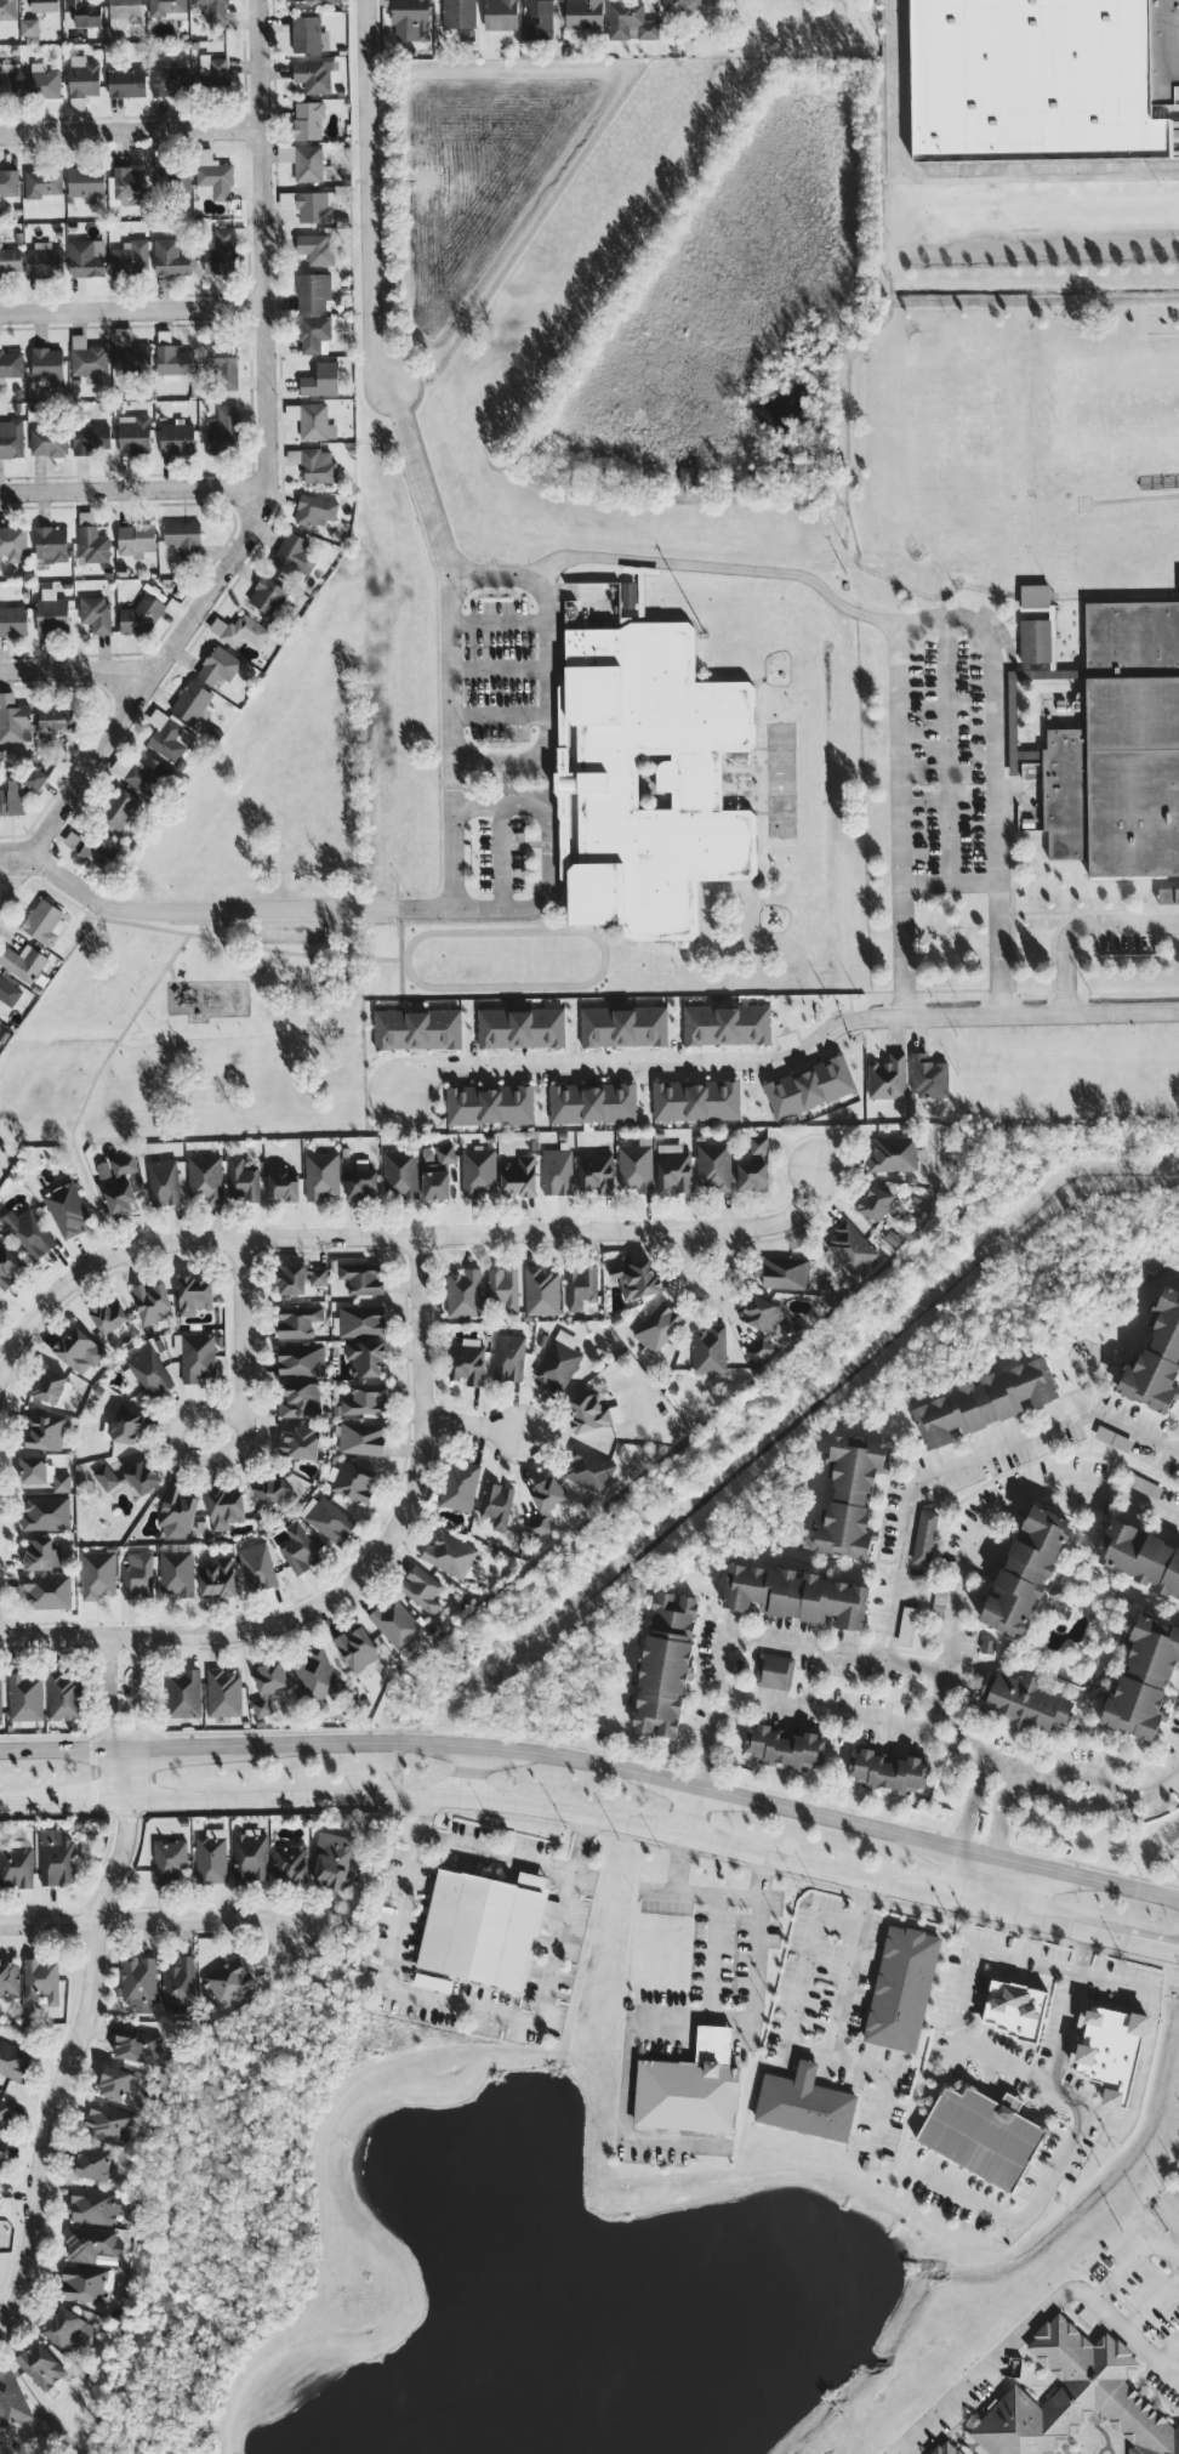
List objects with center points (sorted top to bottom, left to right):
building: (309, 0)
building: (44, 5)
building: (167, 7)
building: (678, 7)
building: (7, 8)
building: (215, 10)
building: (124, 12)
building: (81, 13)
building: (583, 13)
building: (500, 15)
building: (412, 16)
building: (457, 18)
building: (537, 19)
building: (630, 21)
building: (29, 28)
building: (308, 34)
building: (213, 70)
building: (314, 75)
building: (82, 76)
building: (1042, 78)
building: (169, 80)
building: (7, 81)
building: (126, 83)
building: (42, 84)
building: (1164, 110)
building: (308, 119)
road: (131, 132)
building: (306, 161)
road: (955, 172)
building: (212, 175)
building: (172, 176)
building: (8, 182)
building: (86, 182)
building: (129, 182)
building: (42, 184)
road: (368, 200)
building: (315, 205)
building: (315, 248)
building: (220, 251)
building: (86, 257)
building: (170, 257)
building: (130, 259)
building: (45, 260)
building: (313, 290)
road: (132, 308)
building: (314, 334)
building: (173, 356)
building: (87, 359)
building: (11, 362)
building: (223, 363)
building: (46, 364)
building: (320, 379)
building: (312, 420)
building: (224, 431)
building: (133, 433)
building: (176, 437)
building: (11, 438)
building: (91, 438)
building: (47, 441)
building: (318, 465)
building: (685, 475)
road: (267, 487)
road: (133, 489)
building: (315, 510)
building: (183, 535)
building: (136, 539)
building: (12, 544)
building: (51, 544)
building: (92, 544)
building: (294, 555)
road: (725, 568)
building: (267, 596)
building: (1035, 596)
building: (52, 612)
building: (96, 613)
road: (946, 613)
building: (139, 617)
building: (13, 620)
road: (500, 625)
building: (240, 630)
building: (1035, 640)
road: (454, 647)
building: (218, 665)
road: (500, 669)
road: (547, 670)
road: (75, 671)
road: (1002, 676)
building: (192, 701)
building: (1012, 705)
road: (501, 715)
building: (13, 720)
building: (56, 720)
building: (167, 735)
building: (1118, 744)
road: (947, 748)
road: (1010, 749)
road: (1003, 756)
building: (136, 773)
building: (35, 778)
building: (654, 779)
road: (1027, 790)
building: (12, 797)
building: (119, 807)
building: (101, 848)
road: (501, 856)
road: (52, 873)
road: (24, 874)
road: (950, 882)
building: (1168, 894)
road: (414, 909)
building: (44, 921)
road: (1081, 924)
road: (205, 936)
road: (400, 954)
building: (23, 961)
road: (171, 972)
park: (216, 978)
building: (8, 992)
road: (828, 992)
road: (1029, 1016)
building: (727, 1023)
building: (623, 1026)
building: (520, 1027)
building: (417, 1028)
road: (640, 1061)
building: (928, 1075)
building: (887, 1077)
road: (91, 1084)
building: (809, 1086)
building: (696, 1100)
building: (592, 1102)
building: (489, 1103)
building: (893, 1153)
building: (636, 1165)
building: (713, 1165)
building: (753, 1165)
building: (674, 1168)
building: (437, 1171)
building: (478, 1171)
building: (557, 1171)
building: (596, 1171)
building: (400, 1172)
building: (321, 1175)
building: (519, 1176)
building: (205, 1177)
building: (164, 1181)
building: (243, 1181)
building: (118, 1183)
building: (361, 1183)
building: (281, 1186)
building: (875, 1202)
building: (65, 1209)
building: (29, 1232)
road: (394, 1235)
building: (850, 1248)
building: (8, 1266)
building: (785, 1272)
building: (361, 1277)
building: (300, 1278)
building: (636, 1278)
building: (581, 1285)
building: (503, 1288)
building: (541, 1291)
road: (710, 1291)
building: (463, 1293)
building: (194, 1294)
building: (152, 1302)
building: (108, 1316)
building: (298, 1319)
building: (361, 1320)
building: (761, 1323)
building: (657, 1327)
building: (708, 1350)
building: (79, 1351)
building: (195, 1356)
building: (365, 1357)
building: (508, 1357)
building: (1156, 1358)
building: (301, 1359)
building: (467, 1361)
building: (559, 1361)
building: (147, 1373)
building: (49, 1385)
building: (365, 1398)
building: (300, 1399)
building: (985, 1401)
building: (591, 1413)
road: (239, 1418)
road: (475, 1425)
building: (123, 1427)
building: (42, 1431)
building: (361, 1438)
building: (298, 1442)
road: (964, 1461)
building: (588, 1469)
building: (41, 1472)
building: (143, 1476)
building: (106, 1477)
building: (352, 1481)
building: (1141, 1483)
building: (460, 1486)
building: (272, 1489)
building: (850, 1495)
building: (496, 1504)
building: (543, 1504)
building: (226, 1507)
building: (46, 1512)
building: (177, 1512)
building: (327, 1518)
building: (924, 1536)
building: (297, 1549)
building: (41, 1553)
building: (451, 1555)
building: (1140, 1556)
building: (257, 1567)
building: (177, 1570)
building: (1025, 1570)
building: (97, 1573)
building: (137, 1575)
building: (217, 1577)
road: (352, 1578)
building: (421, 1587)
building: (47, 1590)
building: (796, 1595)
road: (951, 1615)
building: (394, 1621)
building: (906, 1625)
road: (799, 1646)
building: (357, 1648)
building: (665, 1663)
building: (774, 1670)
building: (315, 1674)
building: (1144, 1677)
building: (267, 1685)
road: (133, 1692)
building: (223, 1692)
road: (110, 1693)
building: (183, 1693)
building: (63, 1695)
building: (24, 1697)
building: (0, 1699)
building: (1024, 1702)
road: (712, 1723)
road: (936, 1725)
road: (184, 1745)
building: (784, 1745)
road: (63, 1748)
road: (975, 1756)
road: (1001, 1767)
road: (1012, 1770)
road: (700, 1771)
building: (888, 1771)
road: (468, 1772)
road: (1083, 1774)
road: (1160, 1780)
road: (1112, 1784)
road: (1129, 1786)
road: (714, 1789)
road: (1100, 1794)
road: (1132, 1794)
road: (1061, 1797)
road: (76, 1801)
road: (12, 1802)
road: (1112, 1802)
road: (690, 1811)
road: (631, 1825)
road: (495, 1851)
building: (211, 1856)
building: (250, 1856)
building: (56, 1857)
building: (332, 1859)
building: (169, 1861)
building: (289, 1862)
building: (16, 1867)
road: (967, 1875)
road: (708, 1891)
road: (148, 1921)
building: (482, 1925)
road: (1152, 1947)
road: (1081, 1952)
road: (1040, 1964)
road: (969, 1970)
road: (1070, 1971)
road: (750, 1973)
building: (8, 1978)
building: (41, 1978)
building: (228, 1978)
building: (138, 1982)
building: (432, 1982)
road: (802, 1982)
building: (178, 1984)
building: (901, 1988)
road: (467, 2006)
building: (1014, 2009)
road: (1063, 2028)
road: (633, 2030)
road: (1147, 2035)
road: (76, 2039)
road: (832, 2040)
building: (136, 2045)
building: (1109, 2051)
building: (13, 2060)
building: (116, 2083)
building: (690, 2087)
building: (804, 2103)
building: (4, 2112)
building: (108, 2121)
building: (981, 2134)
road: (1064, 2148)
building: (1, 2153)
building: (93, 2163)
building: (0, 2181)
building: (1177, 2187)
building: (95, 2205)
road: (1172, 2220)
building: (91, 2243)
road: (1138, 2260)
building: (85, 2284)
road: (1155, 2305)
road: (1033, 2320)
building: (68, 2329)
road: (1171, 2353)
building: (40, 2364)
building: (11, 2399)
building: (1077, 2403)
building: (945, 2448)

